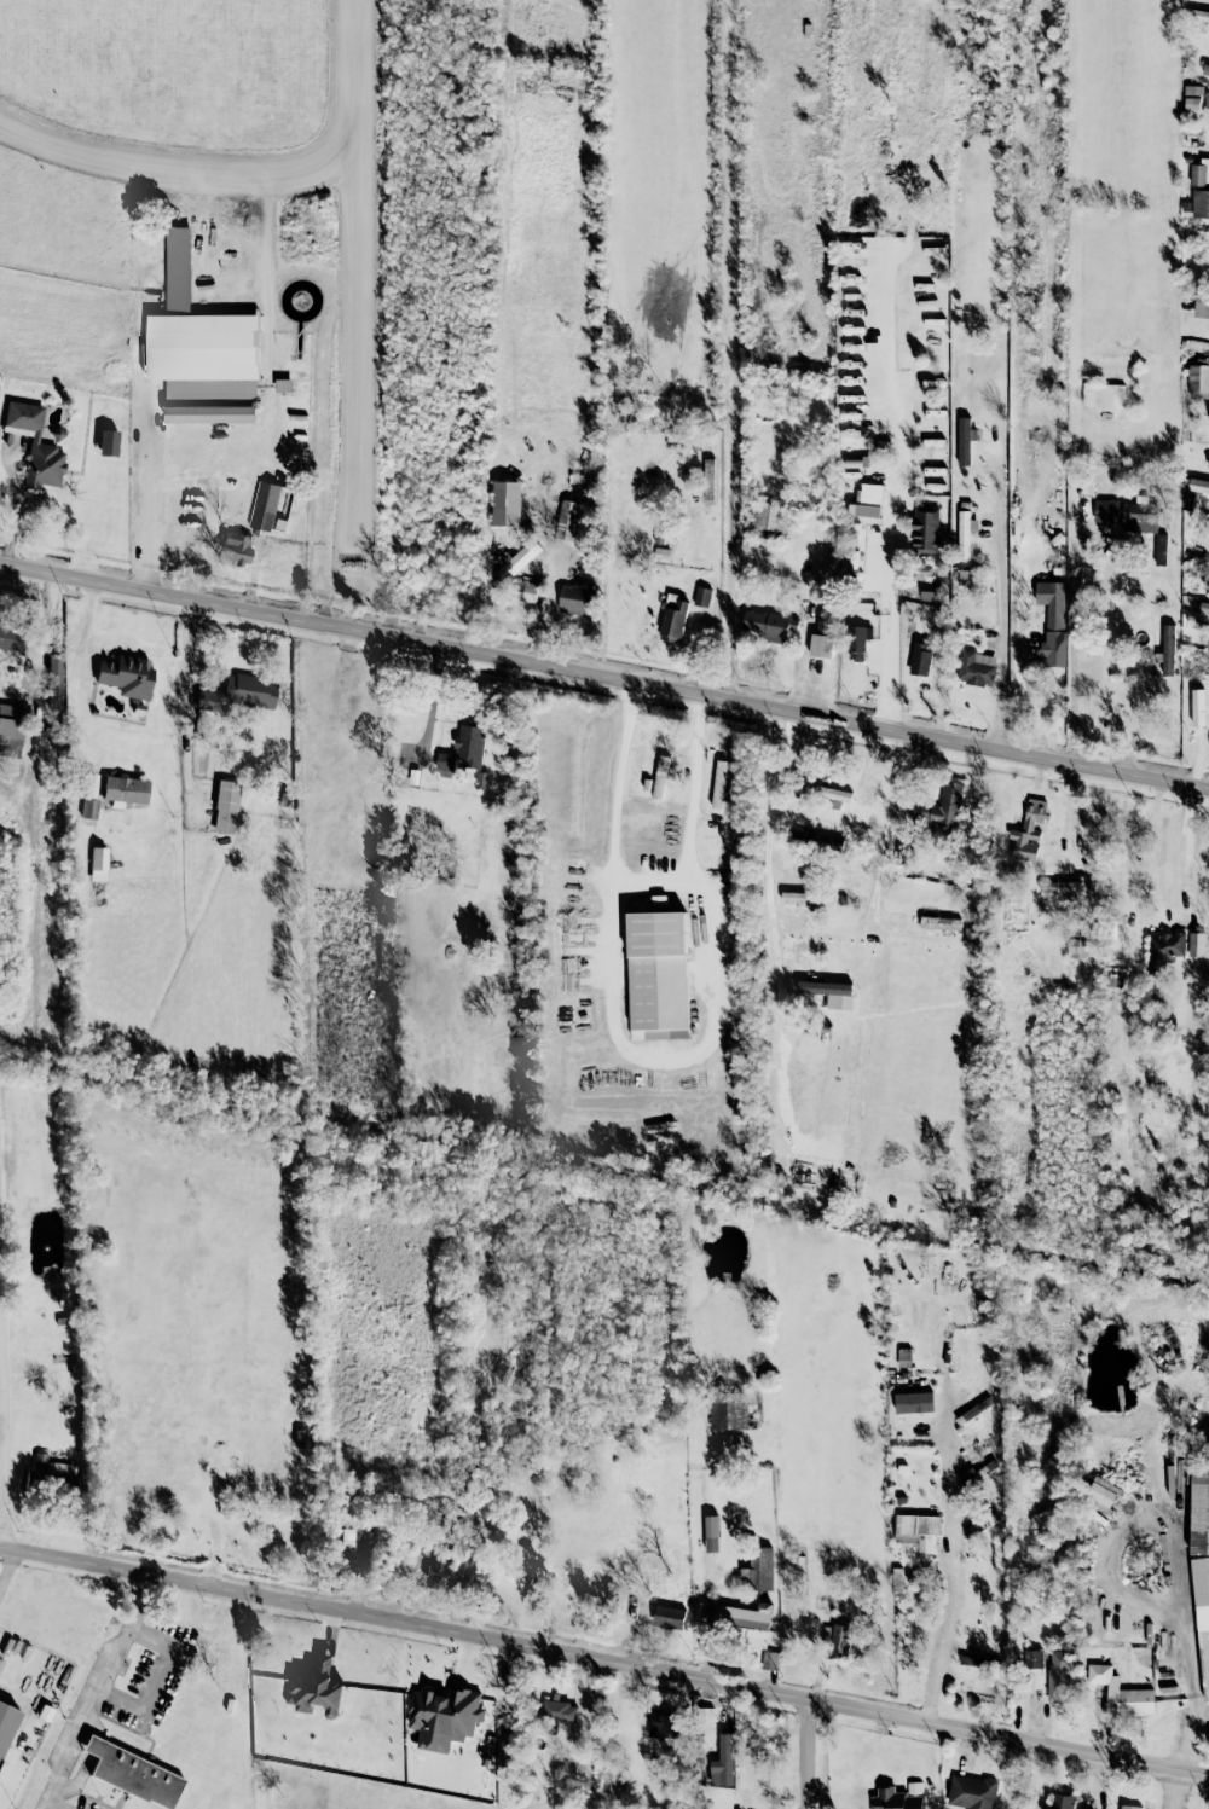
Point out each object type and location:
building: (1205, 100)
building: (1191, 104)
building: (1199, 173)
building: (1199, 204)
building: (1202, 306)
building: (204, 348)
road: (729, 349)
building: (1198, 379)
building: (1103, 395)
building: (964, 440)
building: (108, 441)
building: (932, 442)
building: (34, 443)
building: (1208, 463)
building: (932, 468)
building: (707, 480)
building: (1198, 486)
road: (893, 488)
road: (145, 489)
building: (867, 501)
building: (507, 504)
building: (1105, 512)
building: (1138, 515)
building: (765, 516)
building: (261, 520)
building: (572, 521)
building: (925, 529)
building: (965, 533)
building: (235, 547)
building: (1159, 549)
building: (519, 557)
building: (964, 578)
building: (1205, 579)
building: (530, 592)
building: (927, 592)
building: (701, 597)
building: (577, 598)
road: (1002, 599)
building: (1203, 609)
building: (673, 621)
building: (1052, 621)
building: (769, 625)
building: (821, 631)
building: (10, 639)
building: (857, 642)
road: (1070, 649)
building: (1167, 649)
road: (186, 655)
building: (919, 659)
building: (976, 668)
building: (127, 674)
road: (603, 676)
road: (74, 677)
building: (54, 679)
building: (237, 694)
building: (1197, 707)
building: (11, 730)
building: (464, 748)
building: (660, 777)
building: (718, 784)
building: (125, 789)
building: (828, 793)
building: (226, 805)
building: (941, 806)
building: (88, 807)
building: (1034, 819)
building: (821, 841)
road: (1186, 852)
road: (878, 853)
road: (765, 856)
building: (98, 863)
road: (644, 877)
building: (1074, 889)
building: (808, 898)
building: (658, 900)
building: (939, 923)
building: (1196, 944)
building: (1076, 947)
building: (1163, 950)
building: (659, 970)
building: (829, 993)
road: (664, 1057)
road: (1, 1263)
building: (729, 1408)
building: (974, 1410)
road: (7, 1422)
building: (1198, 1508)
building: (916, 1530)
building: (711, 1533)
building: (346, 1536)
road: (8, 1567)
building: (758, 1569)
road: (956, 1569)
building: (897, 1579)
building: (669, 1617)
building: (1202, 1618)
building: (744, 1623)
building: (839, 1641)
road: (603, 1659)
building: (1034, 1659)
building: (972, 1660)
road: (1190, 1663)
building: (1059, 1676)
road: (156, 1681)
building: (317, 1689)
road: (94, 1691)
building: (1122, 1692)
building: (977, 1695)
building: (559, 1711)
building: (442, 1716)
building: (6, 1722)
building: (706, 1724)
building: (661, 1727)
building: (1208, 1735)
road: (805, 1753)
building: (725, 1759)
building: (132, 1773)
road: (1095, 1781)
road: (1176, 1788)
building: (971, 1792)
building: (898, 1797)
building: (1059, 1802)
road: (52, 1804)
building: (1129, 1807)

